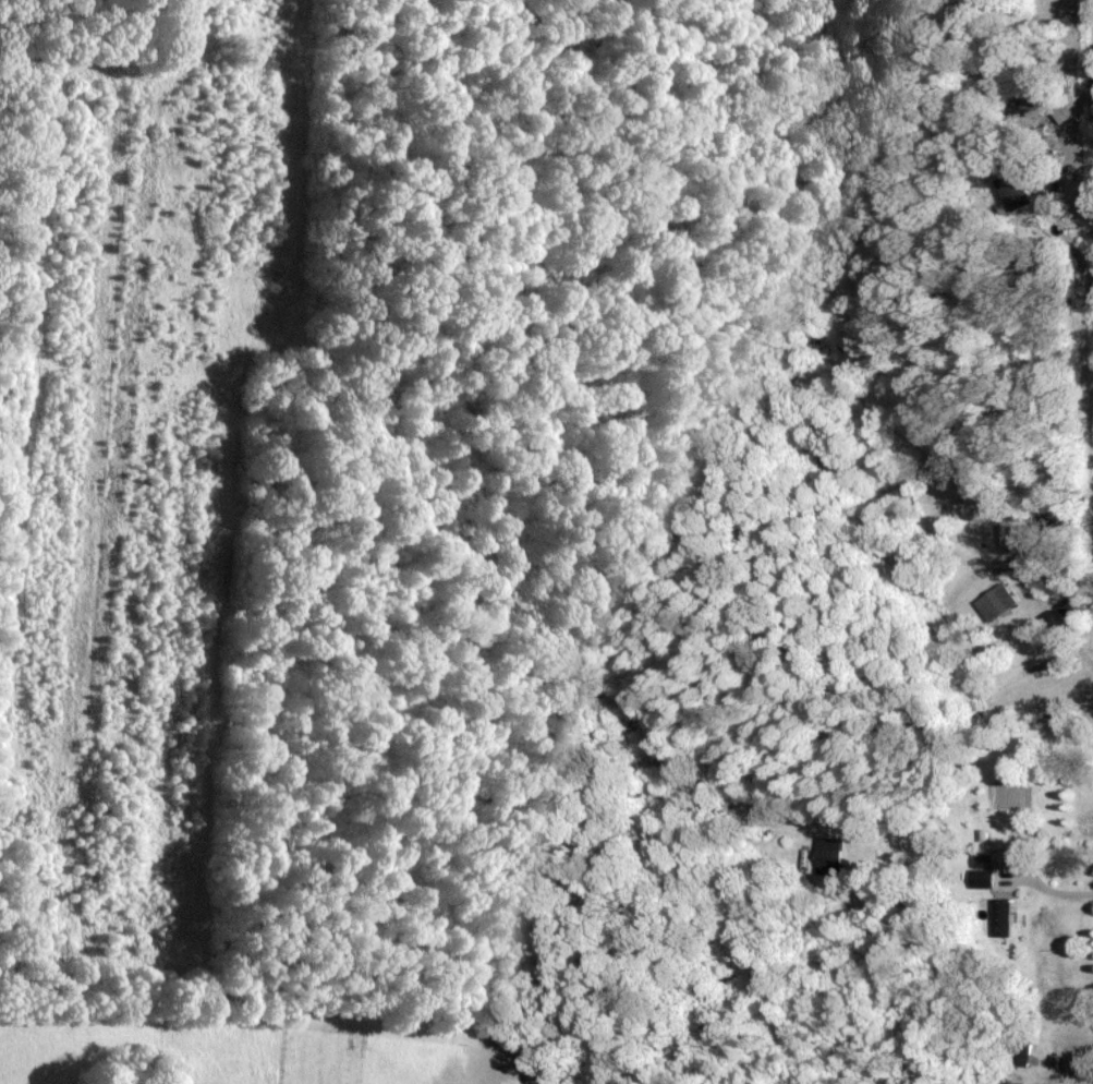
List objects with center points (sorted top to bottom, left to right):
road: (1085, 170)
building: (1012, 190)
building: (996, 601)
road: (1059, 606)
road: (981, 860)
building: (982, 877)
building: (998, 917)
road: (1044, 1076)

